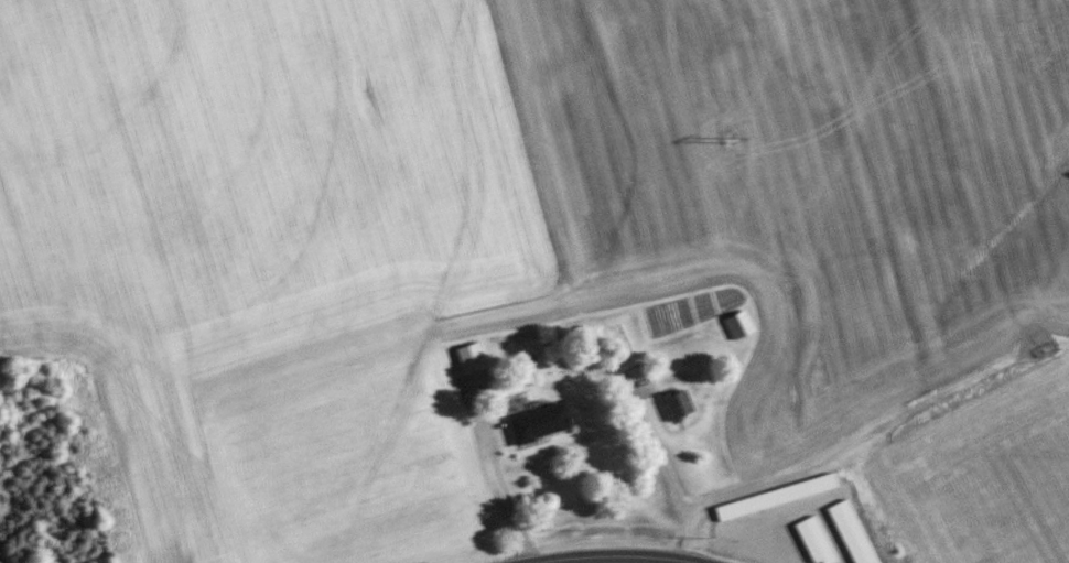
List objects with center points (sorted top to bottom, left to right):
building: (738, 325)
building: (471, 358)
building: (678, 403)
building: (539, 422)
road: (666, 473)
road: (741, 492)
road: (503, 494)
building: (741, 513)
building: (841, 546)
road: (620, 557)

